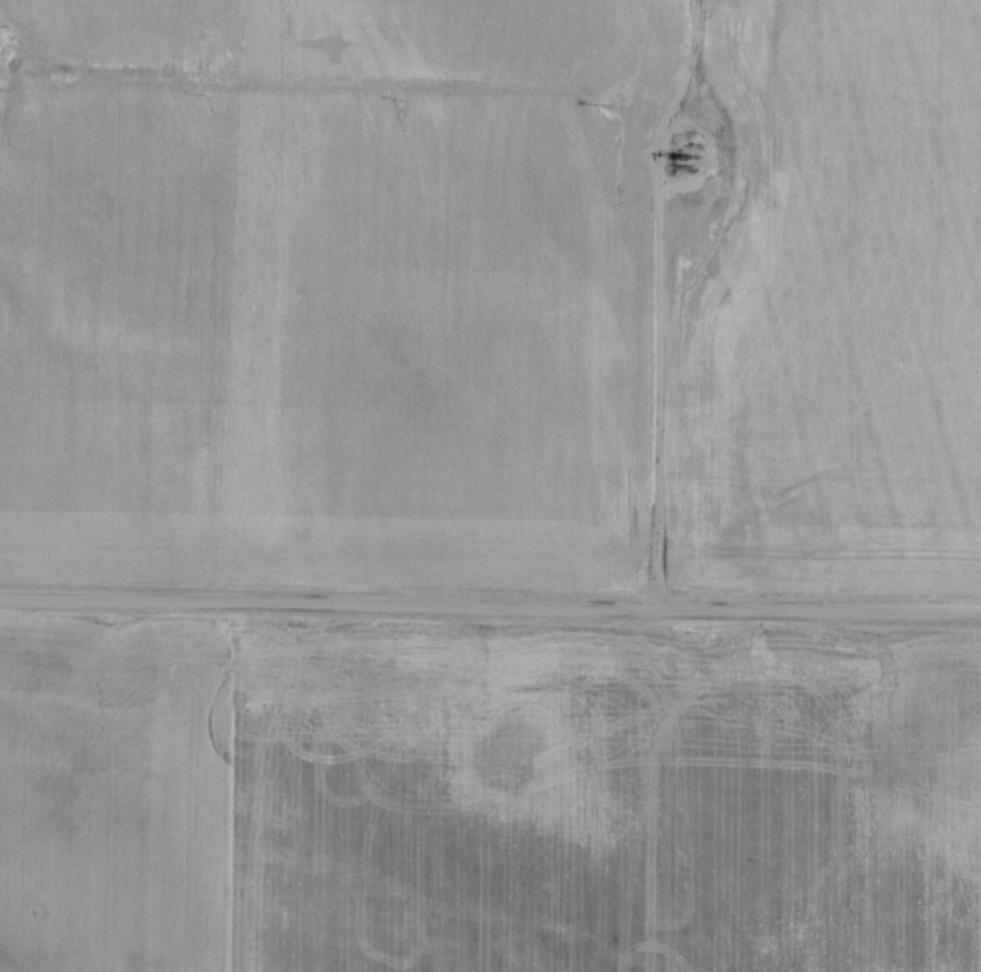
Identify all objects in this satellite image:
road: (359, 86)
petroleum well: (679, 153)
crop: (329, 288)
road: (657, 298)
crop: (830, 304)
road: (490, 604)
crop: (486, 795)

